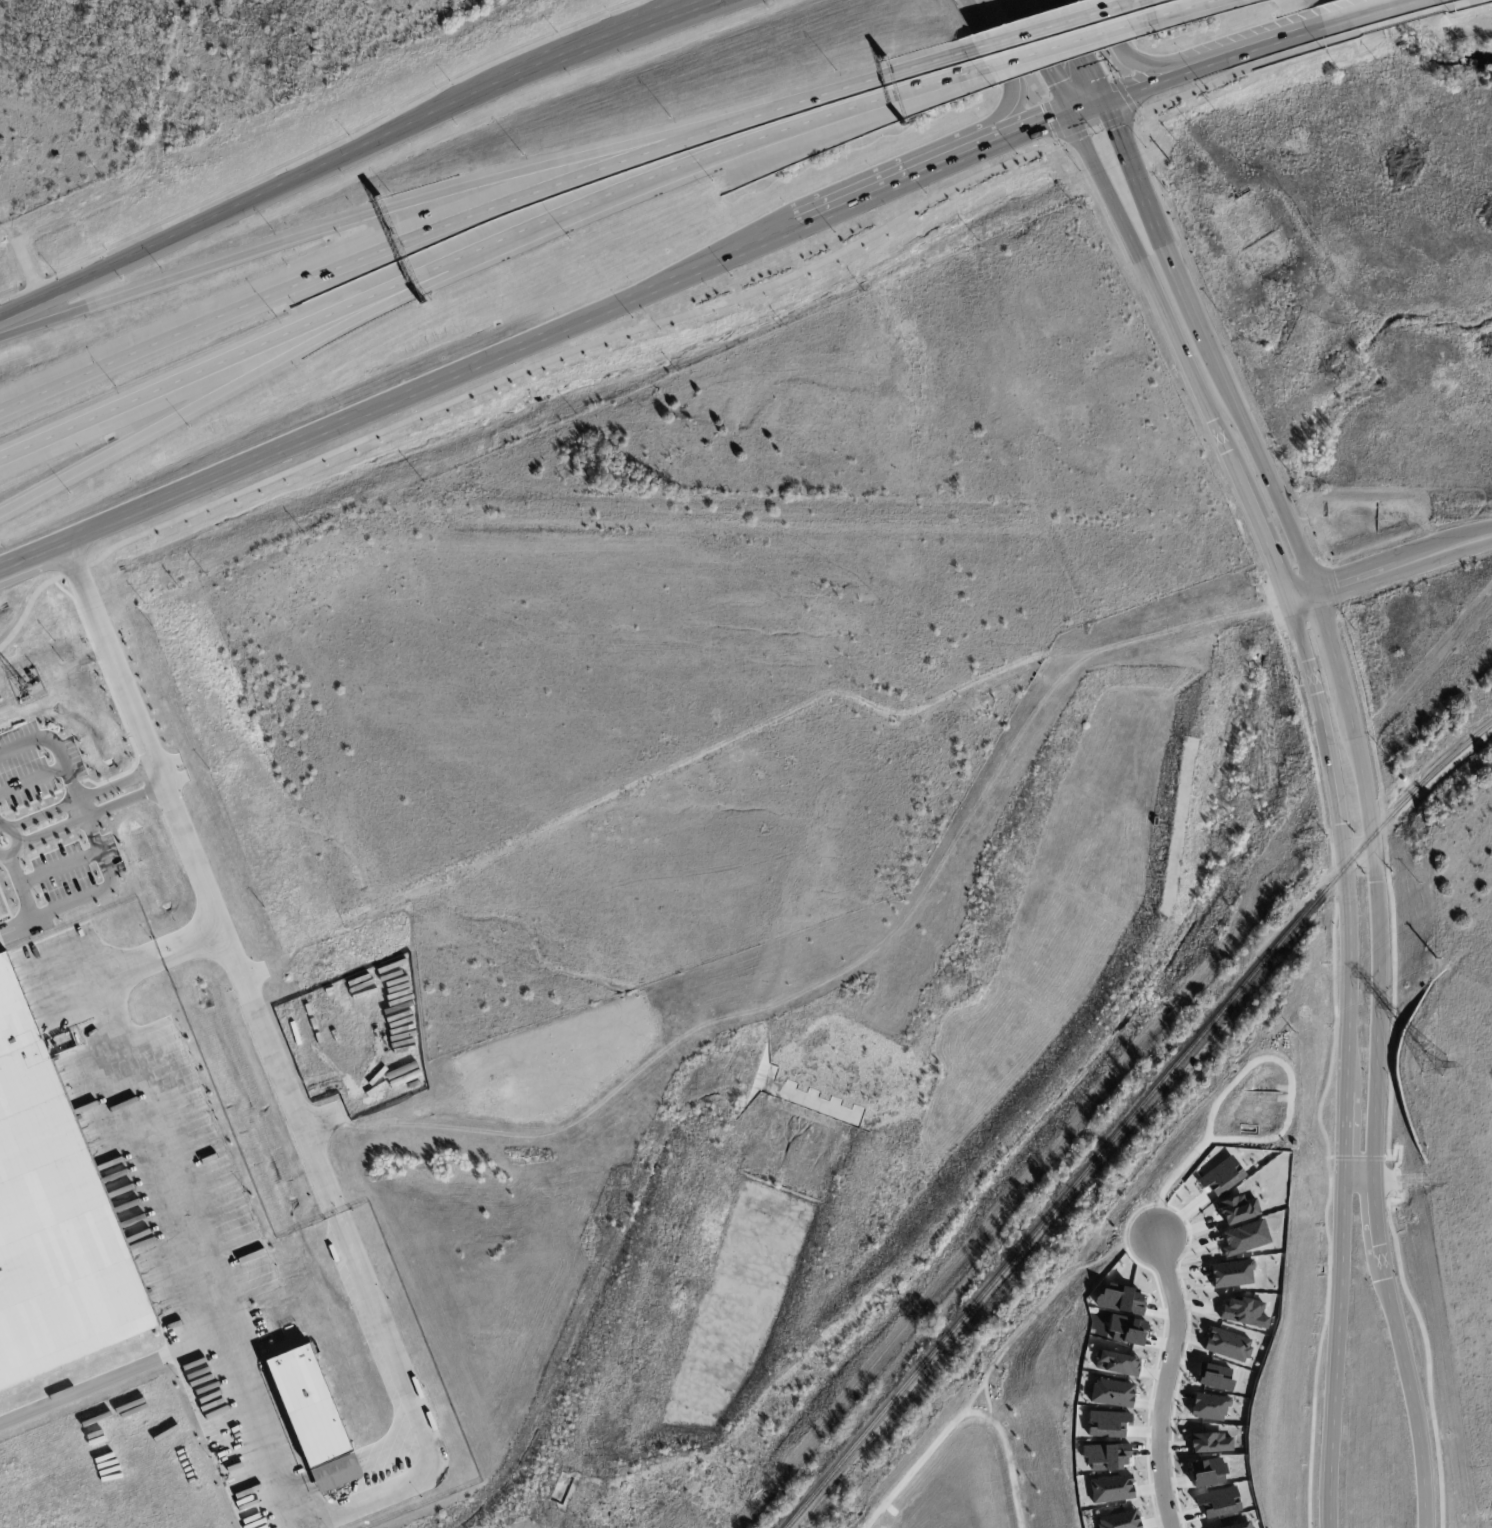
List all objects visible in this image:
road: (1462, 2)
road: (693, 6)
road: (1173, 9)
road: (1379, 10)
road: (1014, 15)
road: (1404, 19)
road: (1046, 23)
road: (1329, 25)
road: (1062, 26)
road: (1059, 44)
road: (582, 48)
road: (1125, 52)
road: (1247, 52)
road: (1005, 68)
road: (1045, 71)
road: (1093, 76)
road: (840, 87)
road: (1144, 87)
traffic signals: (1107, 100)
road: (1087, 107)
traffic signals: (1067, 114)
road: (1028, 127)
road: (888, 187)
road: (244, 198)
road: (350, 219)
road: (484, 248)
road: (1171, 248)
road: (349, 256)
road: (1144, 282)
road: (665, 319)
road: (422, 382)
road: (217, 392)
road: (1277, 493)
road: (1257, 525)
road: (1485, 536)
road: (31, 551)
road: (1398, 563)
road: (1305, 595)
road: (1338, 663)
road: (57, 752)
parking lot: (22, 765)
road: (31, 778)
road: (79, 797)
road: (86, 815)
road: (14, 840)
road: (57, 867)
parking lot: (75, 871)
road: (196, 877)
road: (70, 900)
road: (1344, 1061)
power tower: (1432, 1064)
railway: (1133, 1119)
road: (1375, 1134)
road: (1360, 1179)
building: (52, 1218)
road: (117, 1374)
road: (255, 1377)
road: (1166, 1381)
building: (313, 1418)

